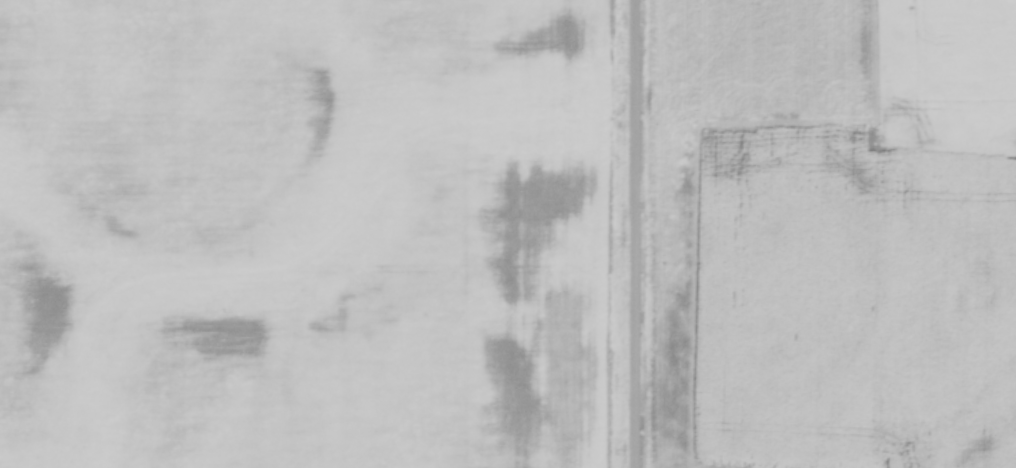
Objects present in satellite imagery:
road: (633, 234)

